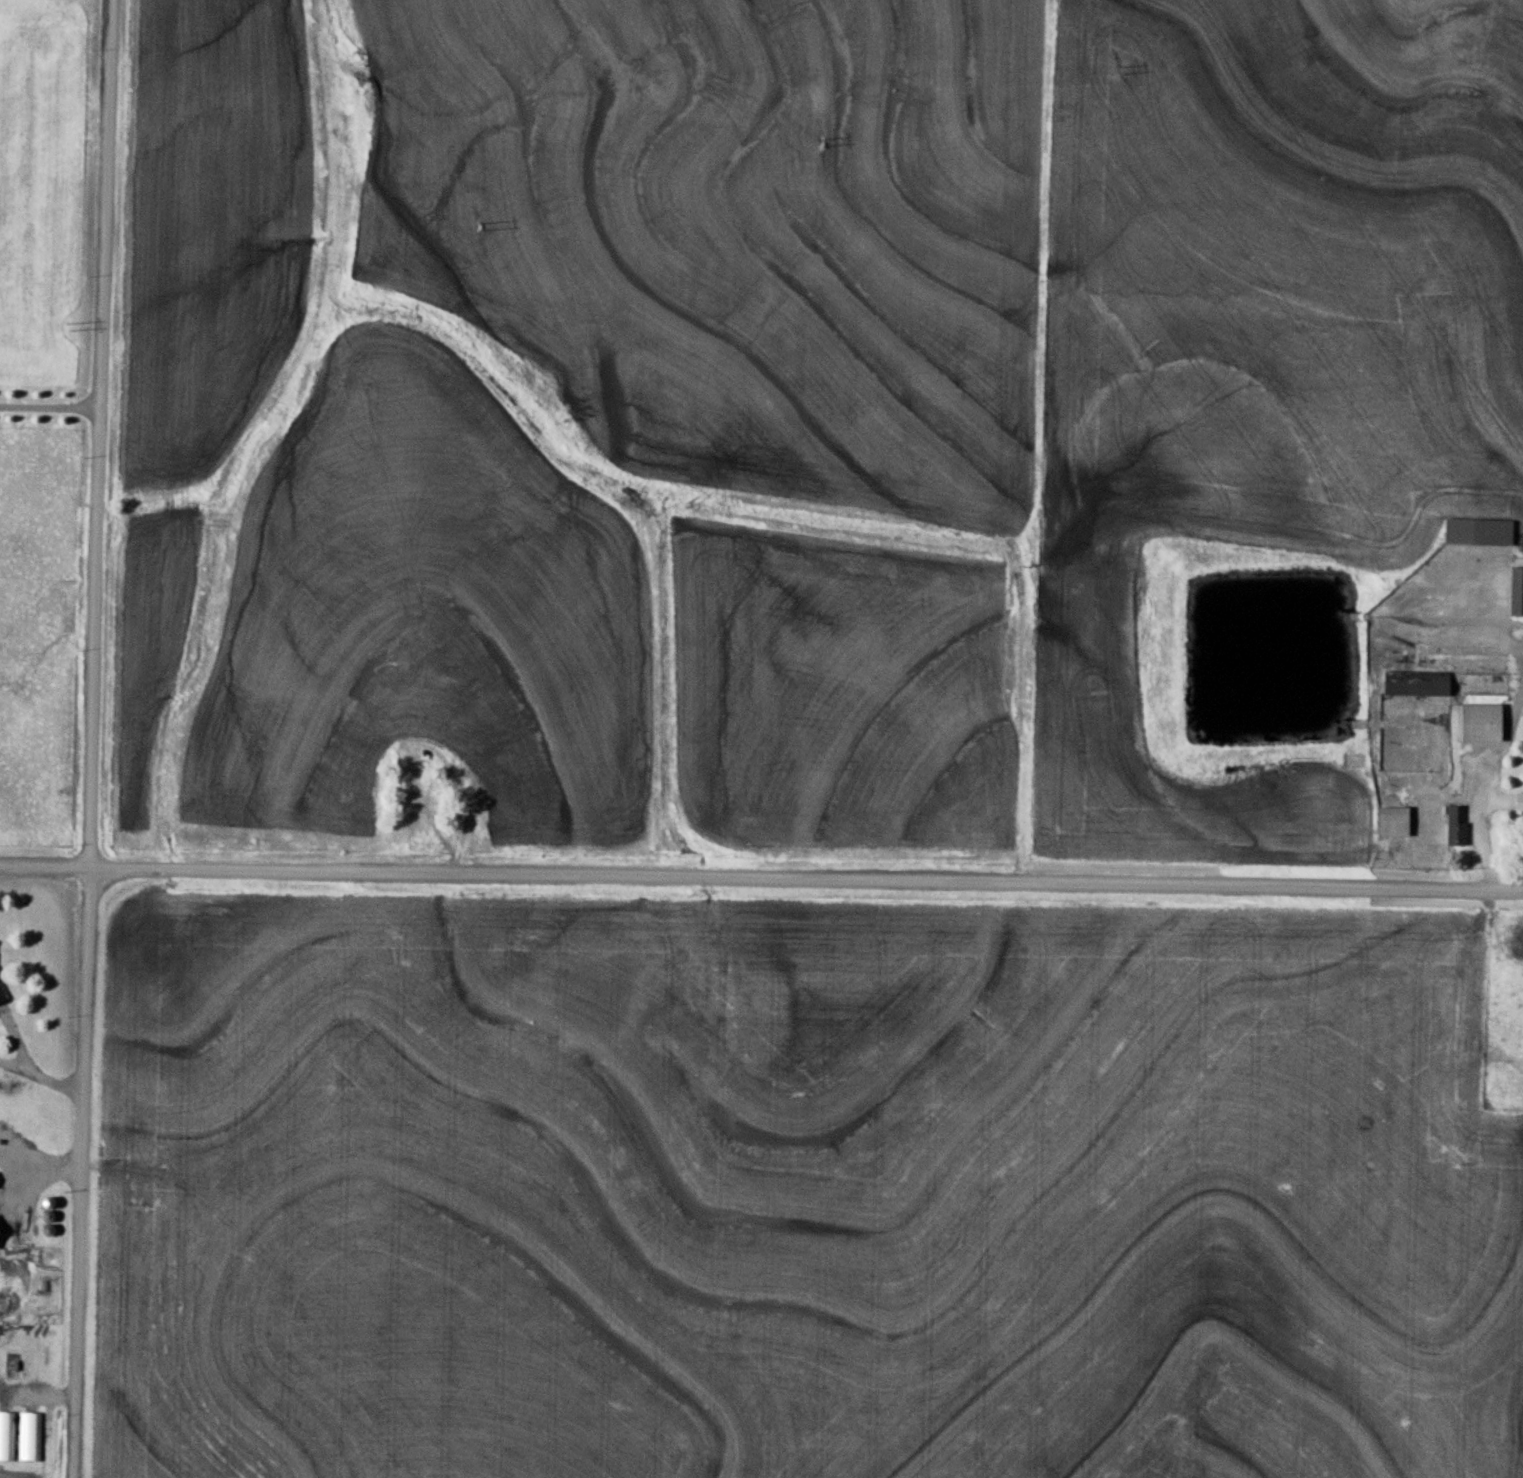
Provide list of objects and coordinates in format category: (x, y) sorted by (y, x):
power tower: (1119, 69)
power tower: (819, 143)
power tower: (477, 225)
power tower: (67, 327)
road: (54, 405)
building: (1481, 531)
building: (1518, 591)
building: (1485, 723)
road: (98, 739)
building: (496, 740)
building: (1519, 803)
building: (1397, 821)
building: (1455, 826)
road: (47, 872)
road: (808, 882)
building: (0, 1232)
building: (7, 1437)
building: (30, 1437)

